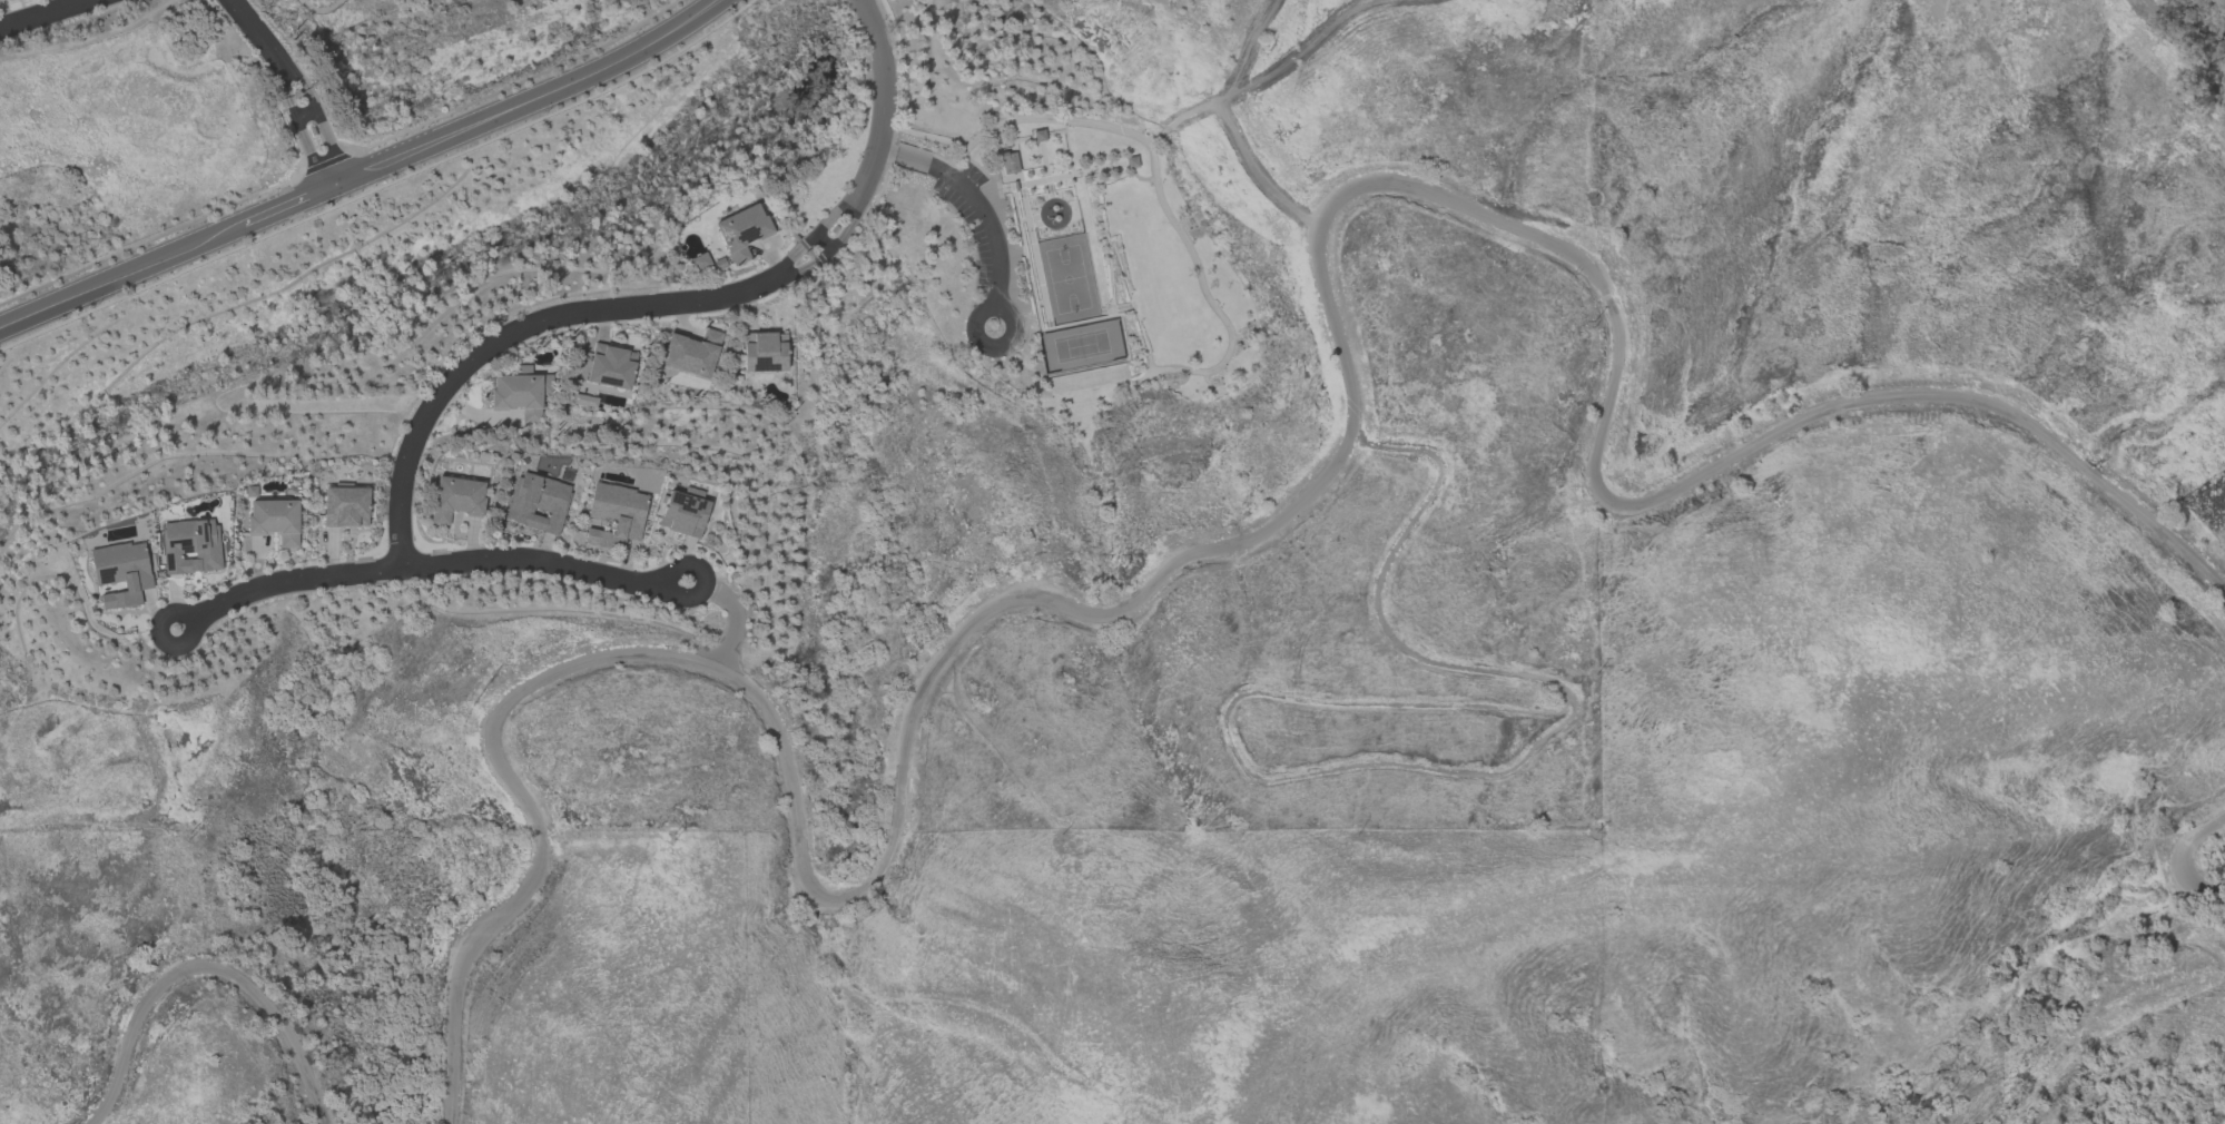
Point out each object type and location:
road: (46, 14)
road: (2192, 39)
park: (431, 48)
road: (295, 88)
park: (141, 118)
road: (1057, 131)
building: (1037, 136)
road: (1156, 139)
road: (1018, 140)
road: (1067, 152)
road: (997, 160)
road: (1043, 160)
building: (1006, 162)
building: (1131, 162)
road: (1118, 165)
road: (1101, 168)
road: (981, 170)
road: (1084, 171)
road: (365, 175)
parking lot: (971, 175)
road: (1140, 178)
road: (1041, 180)
road: (1047, 183)
road: (1056, 197)
road: (1046, 199)
road: (973, 204)
road: (1014, 207)
road: (1024, 214)
road: (1036, 215)
road: (1038, 223)
parking lot: (967, 228)
building: (741, 231)
road: (1010, 252)
building: (699, 262)
park: (1062, 265)
road: (1026, 266)
road: (1119, 266)
road: (1037, 276)
park: (1066, 279)
road: (664, 302)
road: (1210, 302)
street lamp: (1103, 305)
road: (1130, 305)
road: (1001, 307)
road: (1110, 309)
road: (1110, 313)
road: (1061, 325)
road: (1048, 327)
park: (1080, 345)
building: (764, 352)
building: (691, 353)
road: (1149, 364)
building: (609, 366)
building: (520, 392)
building: (455, 499)
building: (536, 503)
building: (345, 506)
building: (614, 515)
building: (274, 520)
road: (1258, 533)
building: (189, 546)
road: (425, 568)
building: (120, 572)
road: (707, 586)
road: (193, 622)
road: (1469, 781)
road: (2180, 866)
road: (2132, 937)
road: (211, 970)
road: (2104, 1029)

